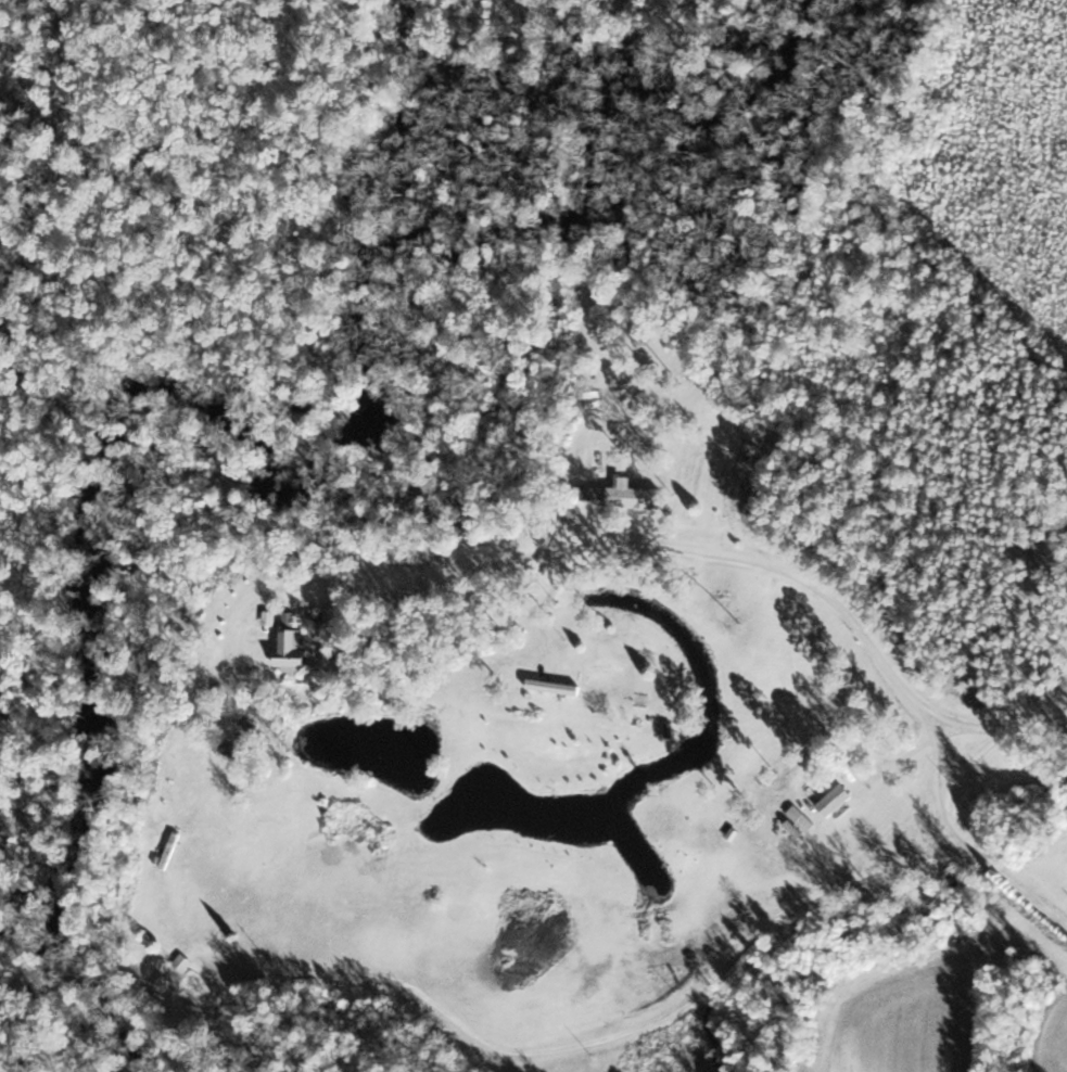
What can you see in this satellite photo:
building: (637, 497)
road: (703, 547)
road: (555, 589)
building: (295, 648)
building: (853, 769)
road: (989, 860)
building: (186, 962)
building: (167, 983)
road: (651, 1030)

